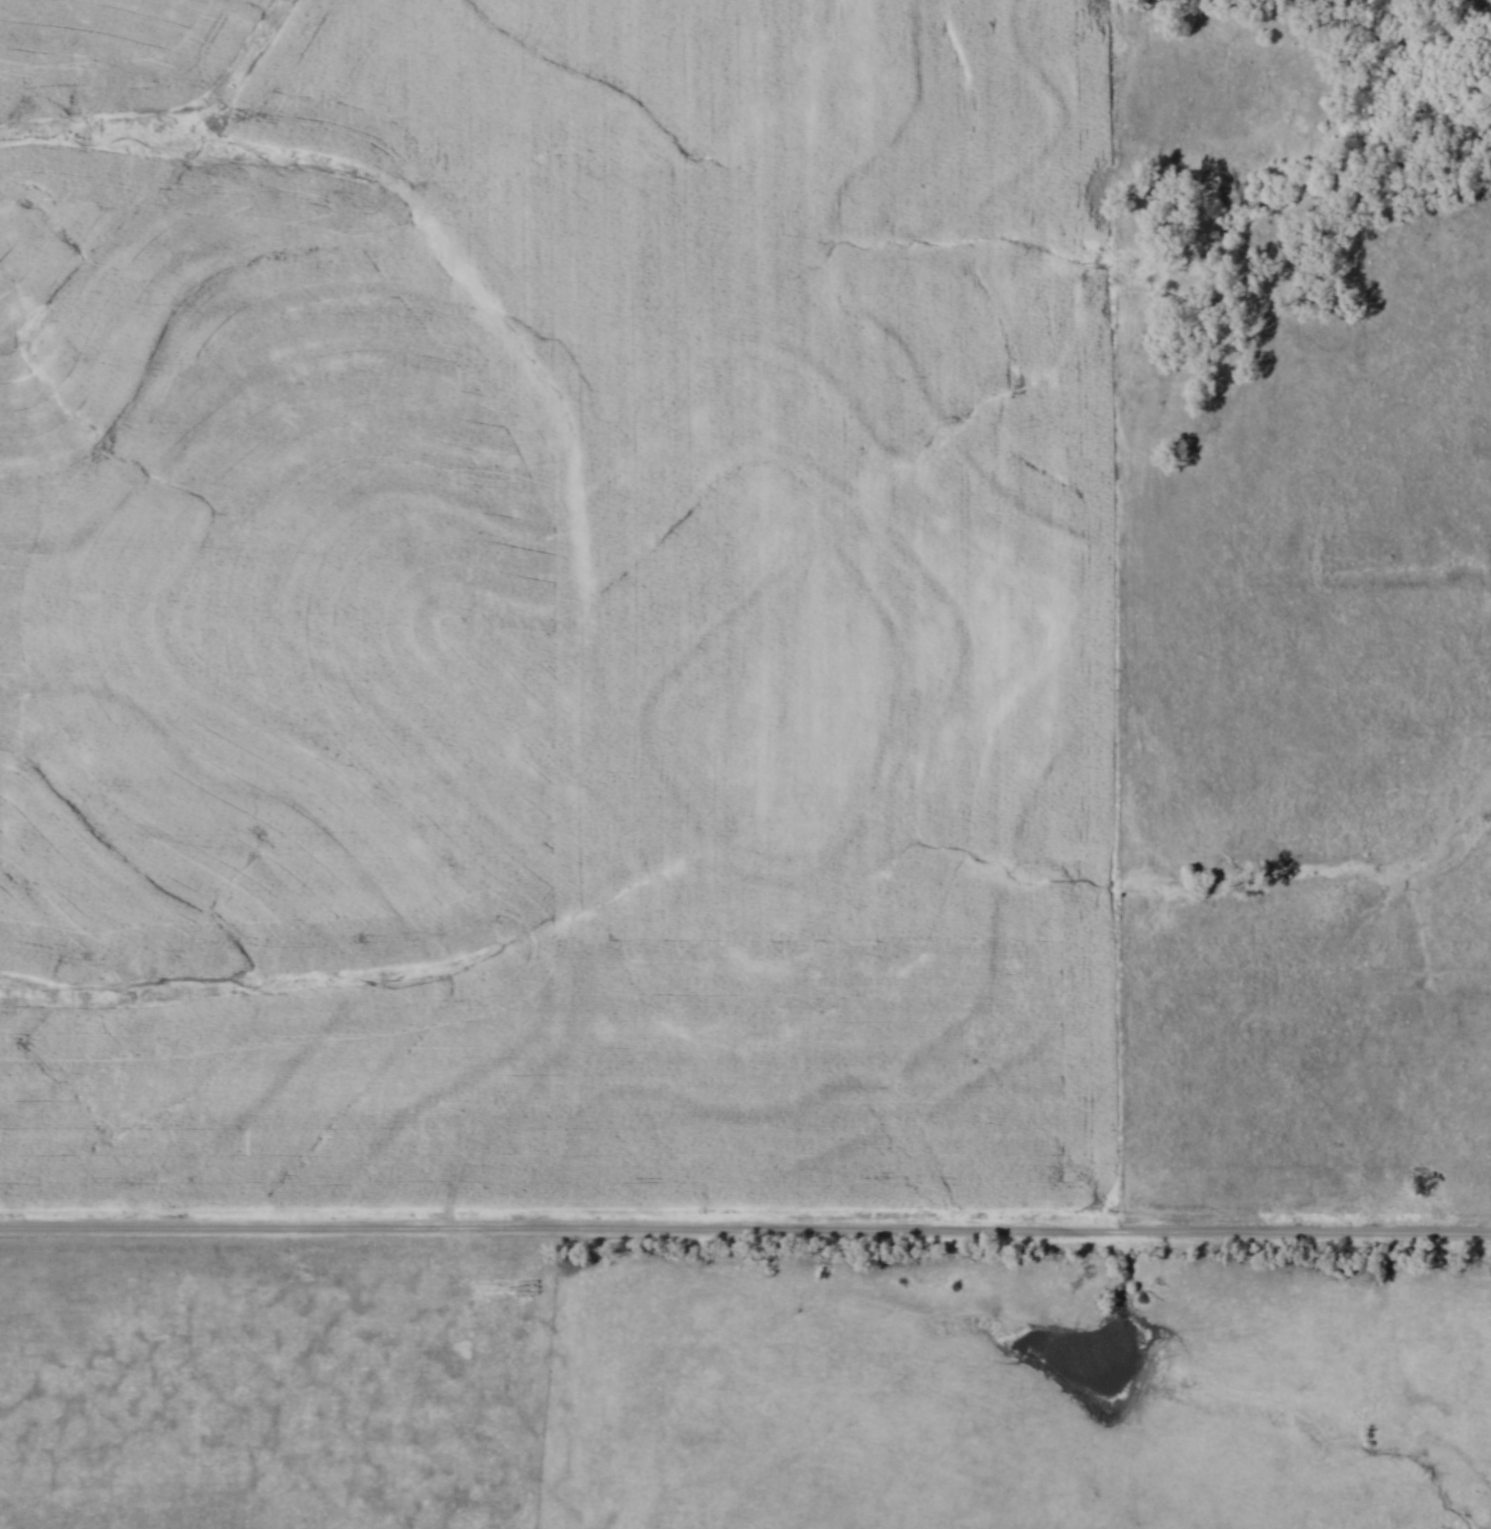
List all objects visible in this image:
road: (745, 1232)

